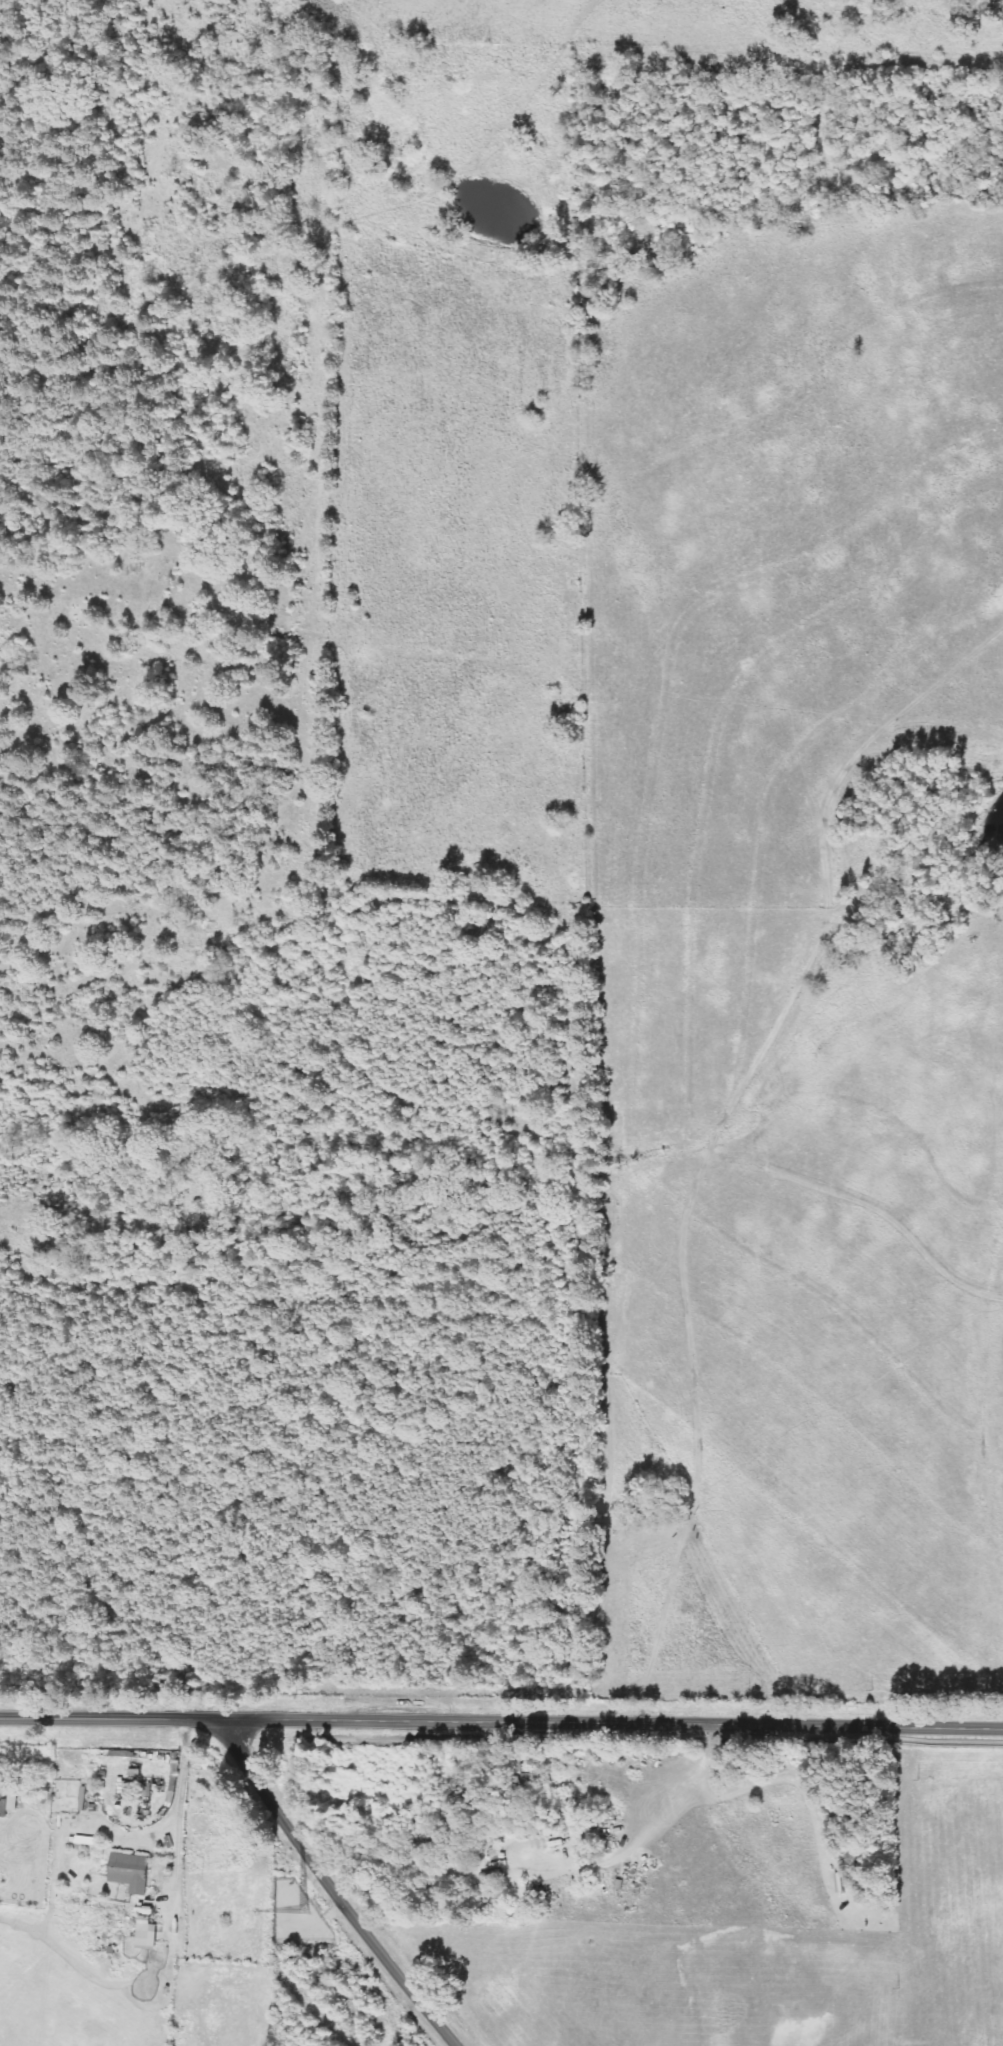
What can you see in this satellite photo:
road: (501, 1722)
building: (8, 1805)
building: (129, 1871)
road: (331, 1889)
building: (146, 1933)

